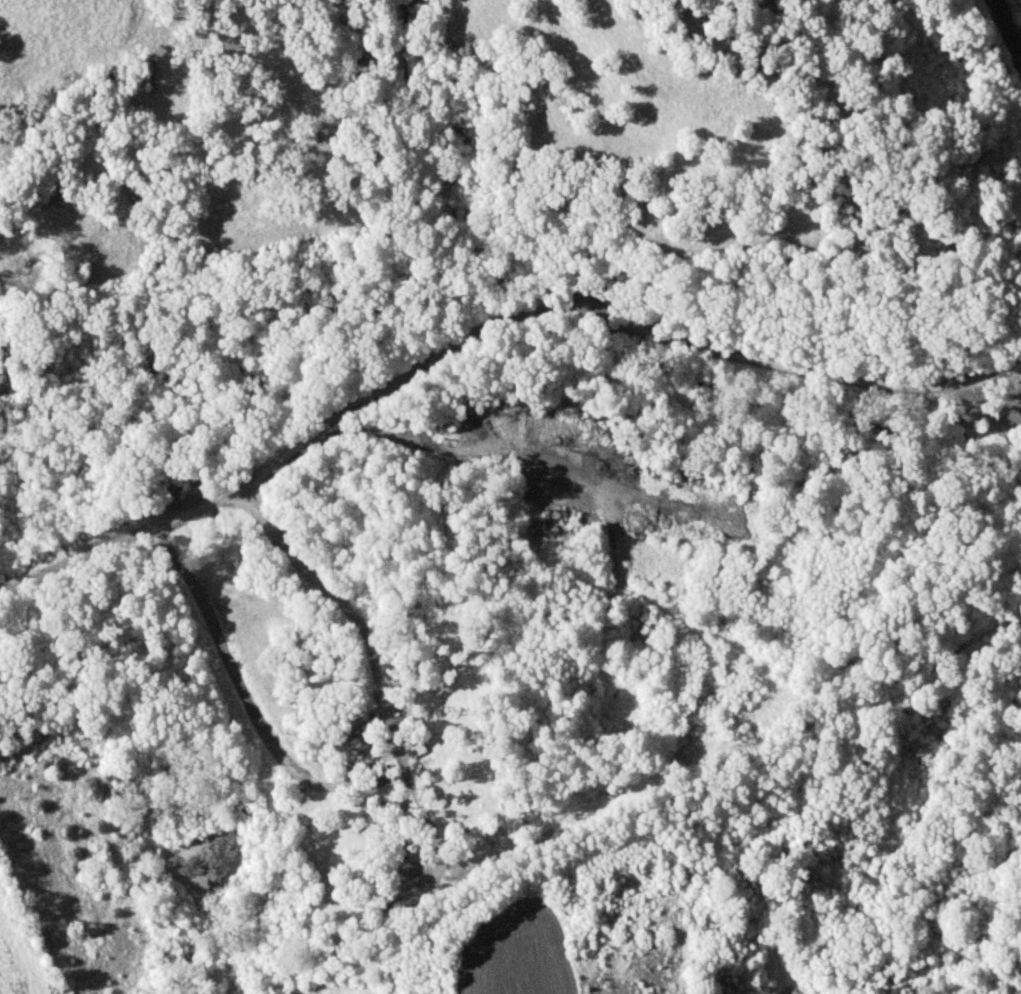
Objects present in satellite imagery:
railway: (1007, 29)
road: (485, 330)
road: (362, 765)

